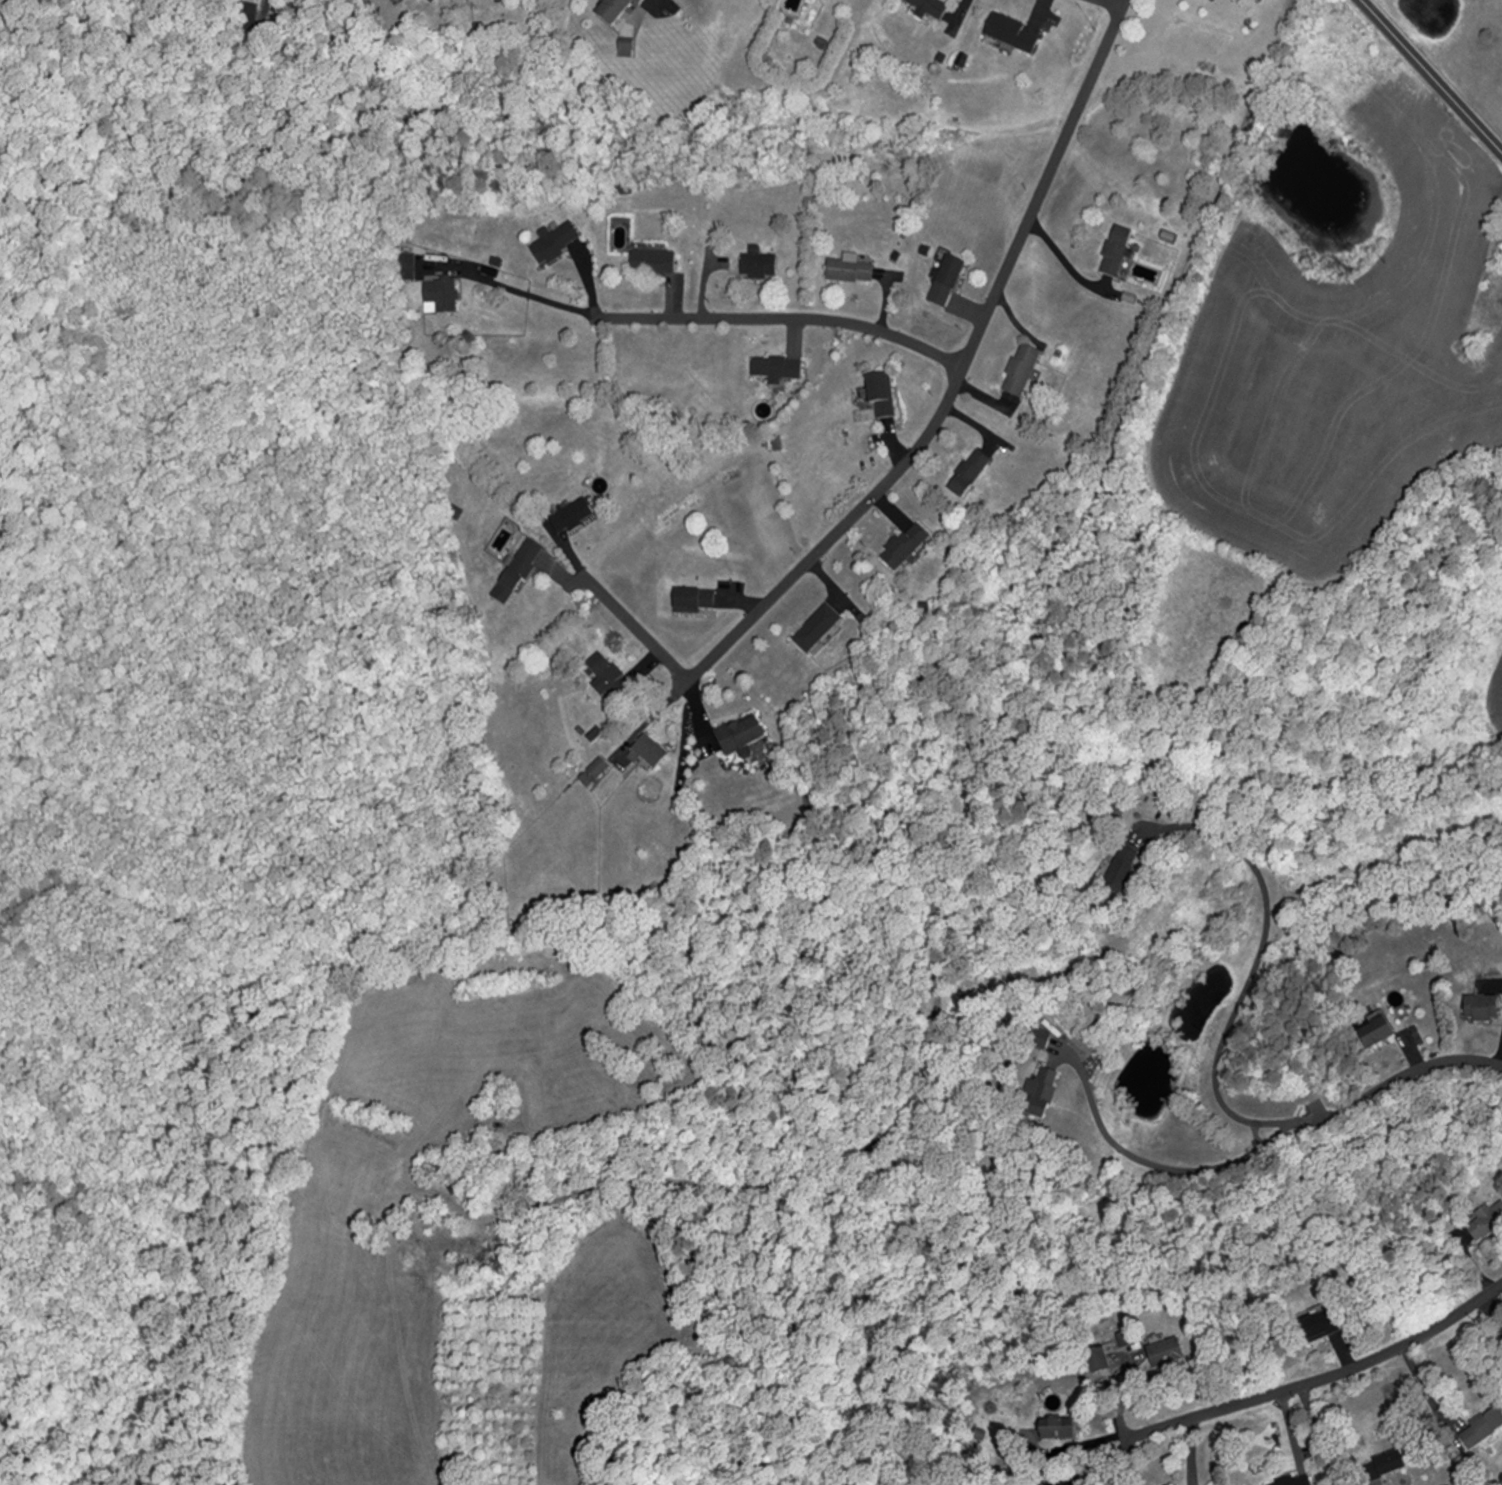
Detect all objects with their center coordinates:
road: (1109, 2)
road: (8, 13)
road: (1432, 75)
road: (1062, 255)
road: (526, 291)
road: (787, 315)
road: (942, 413)
road: (638, 626)
road: (1255, 955)
road: (1392, 1081)
road: (1148, 1159)
road: (1489, 1318)
road: (1319, 1379)
road: (1317, 1435)
road: (1088, 1467)

